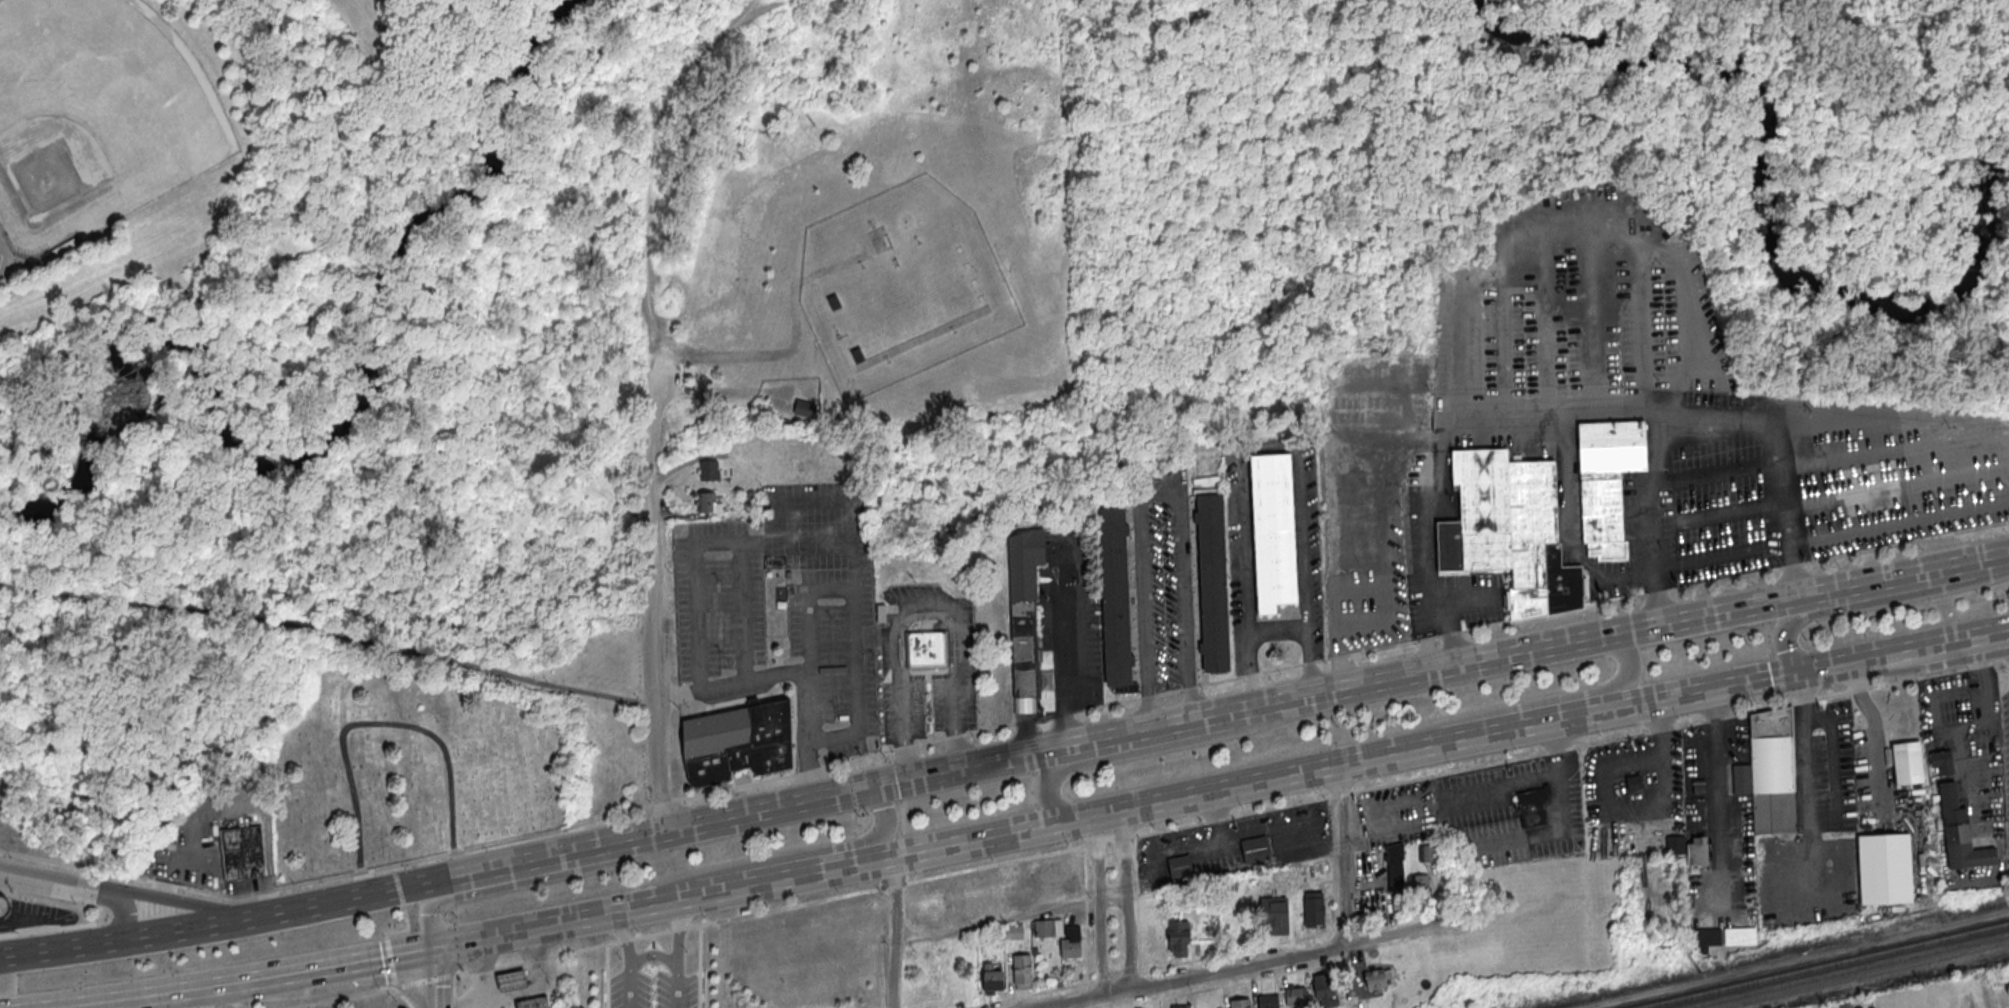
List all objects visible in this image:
road: (751, 6)
road: (763, 6)
road: (580, 75)
park: (95, 115)
road: (1117, 124)
park: (1521, 180)
river: (1762, 204)
road: (1568, 220)
road: (1122, 236)
road: (1251, 252)
building: (835, 301)
building: (859, 355)
parking lot: (663, 376)
road: (699, 391)
parking lot: (1698, 396)
road: (648, 402)
park: (460, 409)
building: (805, 409)
road: (498, 413)
road: (1439, 442)
river: (322, 445)
road: (1270, 446)
road: (1776, 456)
building: (708, 471)
building: (1606, 482)
road: (1899, 485)
road: (1158, 493)
building: (707, 503)
road: (1652, 519)
road: (1901, 523)
building: (1273, 529)
building: (1508, 529)
road: (760, 542)
road: (1708, 558)
parking lot: (1163, 582)
building: (1212, 583)
road: (823, 587)
road: (1336, 594)
building: (1114, 600)
road: (1868, 604)
road: (921, 607)
parking lot: (785, 611)
building: (1024, 614)
road: (1277, 630)
road: (327, 631)
road: (1959, 642)
building: (927, 651)
road: (1862, 660)
road: (1308, 662)
road: (1250, 670)
traffic signals: (1815, 670)
road: (753, 679)
road: (1065, 680)
road: (1196, 687)
road: (1335, 691)
road: (674, 695)
road: (1548, 700)
road: (375, 724)
road: (1874, 726)
building: (738, 742)
road: (1571, 748)
road: (1138, 751)
park: (400, 757)
parking lot: (1970, 760)
parking lot: (2005, 761)
building: (1907, 762)
building: (1942, 762)
road: (1832, 770)
building: (1772, 771)
building: (1634, 781)
traffic signals: (851, 792)
road: (1807, 793)
road: (1717, 800)
building: (1532, 807)
road: (1124, 808)
road: (1636, 808)
parking lot: (1515, 811)
parking lot: (1718, 824)
building: (1959, 833)
parking lot: (1386, 843)
building: (1688, 847)
building: (1254, 850)
building: (243, 851)
building: (1427, 854)
road: (792, 855)
road: (1339, 855)
road: (55, 862)
building: (1395, 865)
building: (1180, 867)
building: (1884, 867)
road: (450, 876)
road: (524, 880)
road: (179, 886)
road: (398, 889)
building: (1420, 889)
road: (119, 896)
road: (1128, 899)
building: (3, 904)
road: (1098, 906)
building: (1313, 908)
road: (121, 915)
road: (1086, 915)
building: (1274, 916)
road: (1010, 918)
road: (715, 920)
building: (1048, 928)
road: (406, 930)
road: (892, 931)
building: (1013, 932)
building: (1739, 936)
building: (1705, 937)
road: (119, 938)
building: (1178, 938)
building: (1070, 942)
traffic signals: (434, 949)
road: (367, 959)
road: (390, 962)
road: (1246, 965)
railway: (1822, 965)
road: (699, 966)
road: (1148, 970)
railway: (1848, 970)
building: (1021, 971)
power tower: (1700, 974)
road: (606, 975)
road: (4, 977)
road: (434, 978)
building: (991, 979)
building: (1375, 979)
road: (222, 981)
building: (511, 981)
road: (1227, 985)
building: (1323, 989)
road: (453, 990)
road: (401, 996)
building: (2008, 996)
road: (196, 997)
building: (1295, 997)
road: (84, 1001)
building: (1267, 1001)
building: (533, 1002)
building: (1239, 1003)
building: (1180, 1006)

